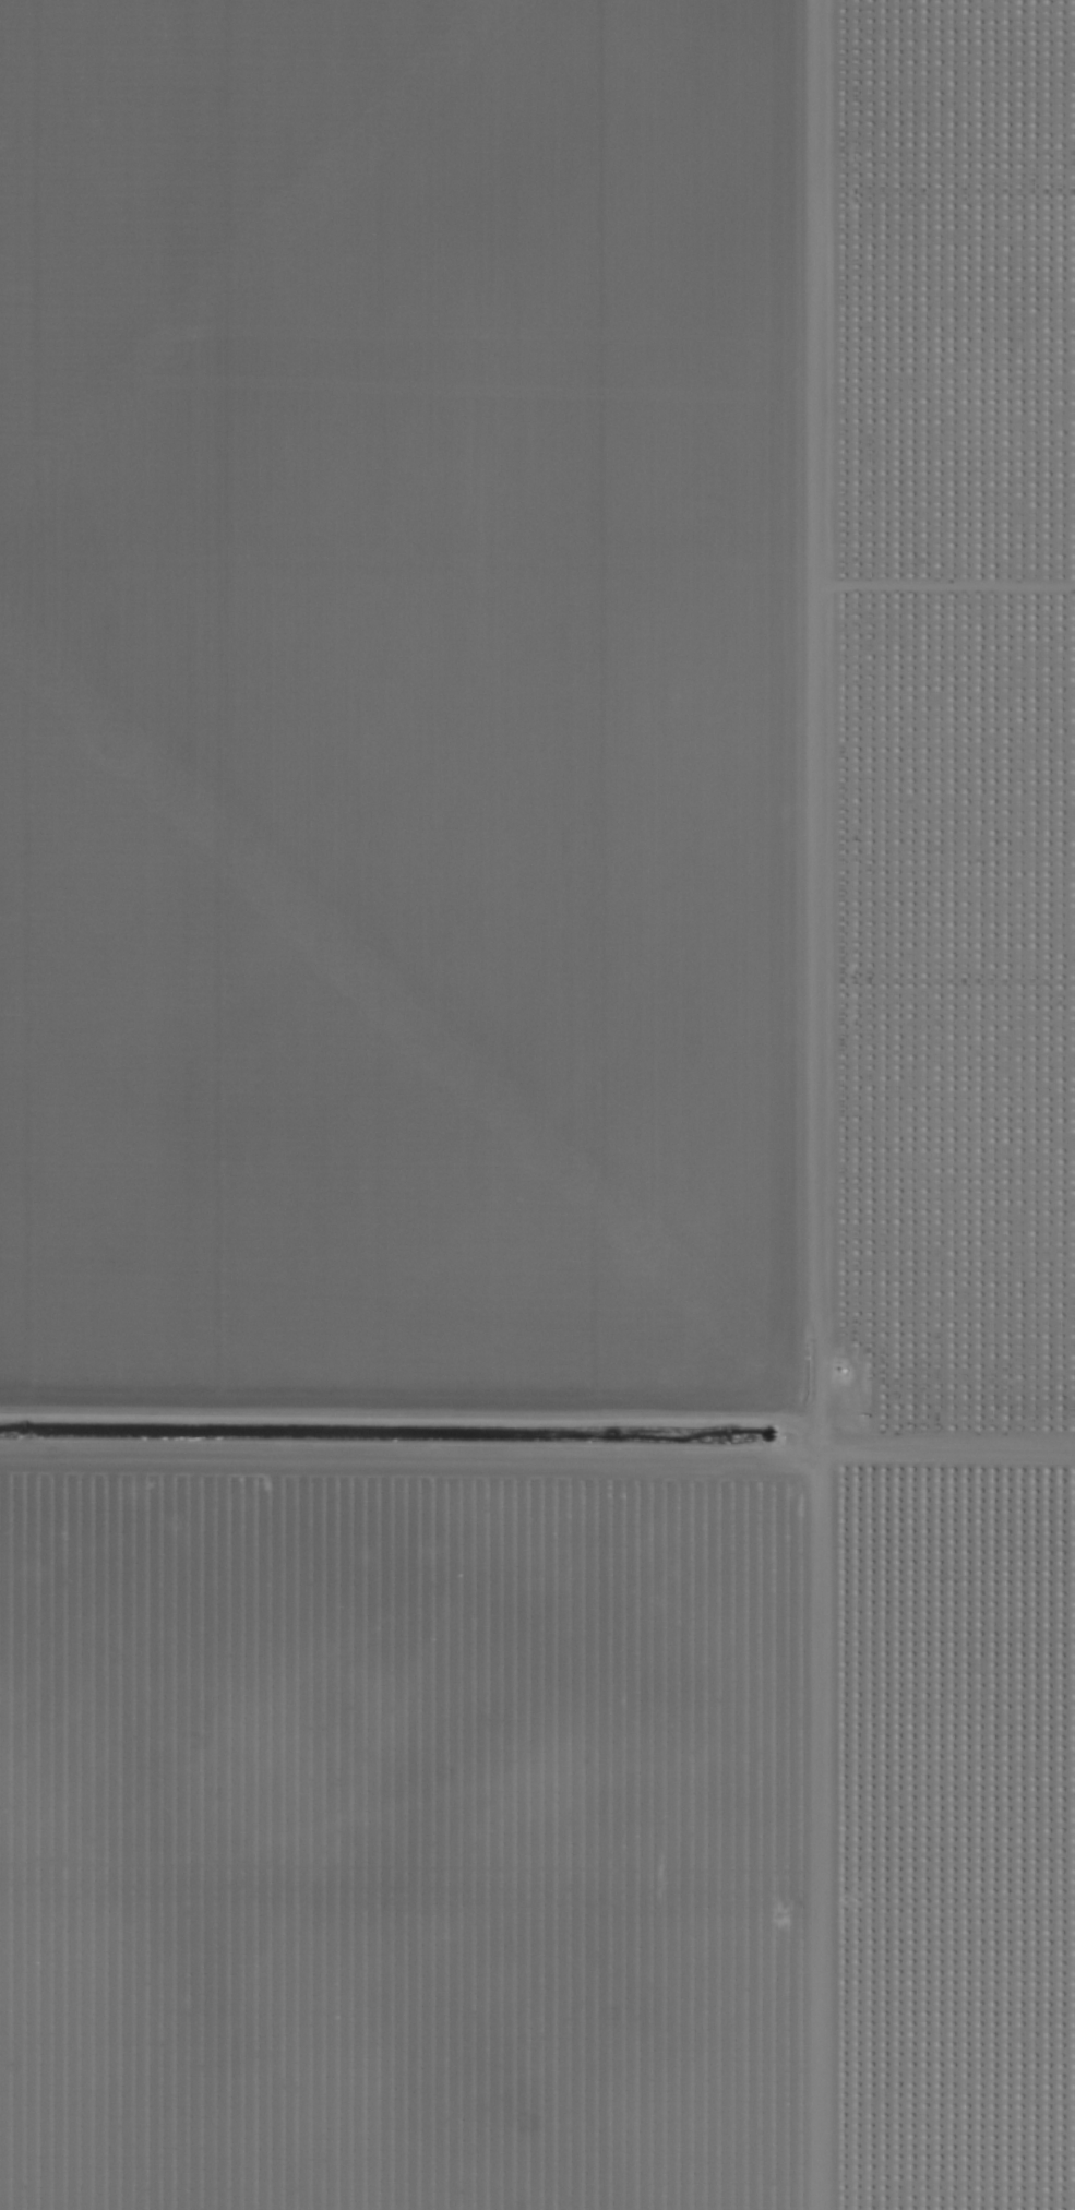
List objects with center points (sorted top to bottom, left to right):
crop: (537, 1104)
road: (835, 1104)
road: (537, 1415)

